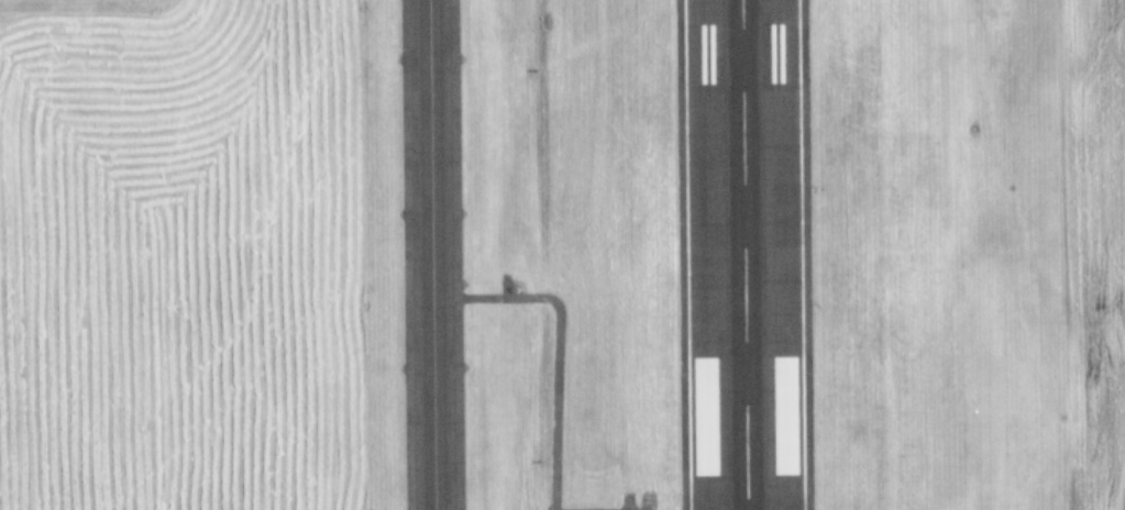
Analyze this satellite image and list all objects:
crop: (973, 254)
airport taxiway: (429, 255)
airport: (562, 255)
airport runway: (742, 255)
crop: (196, 256)

